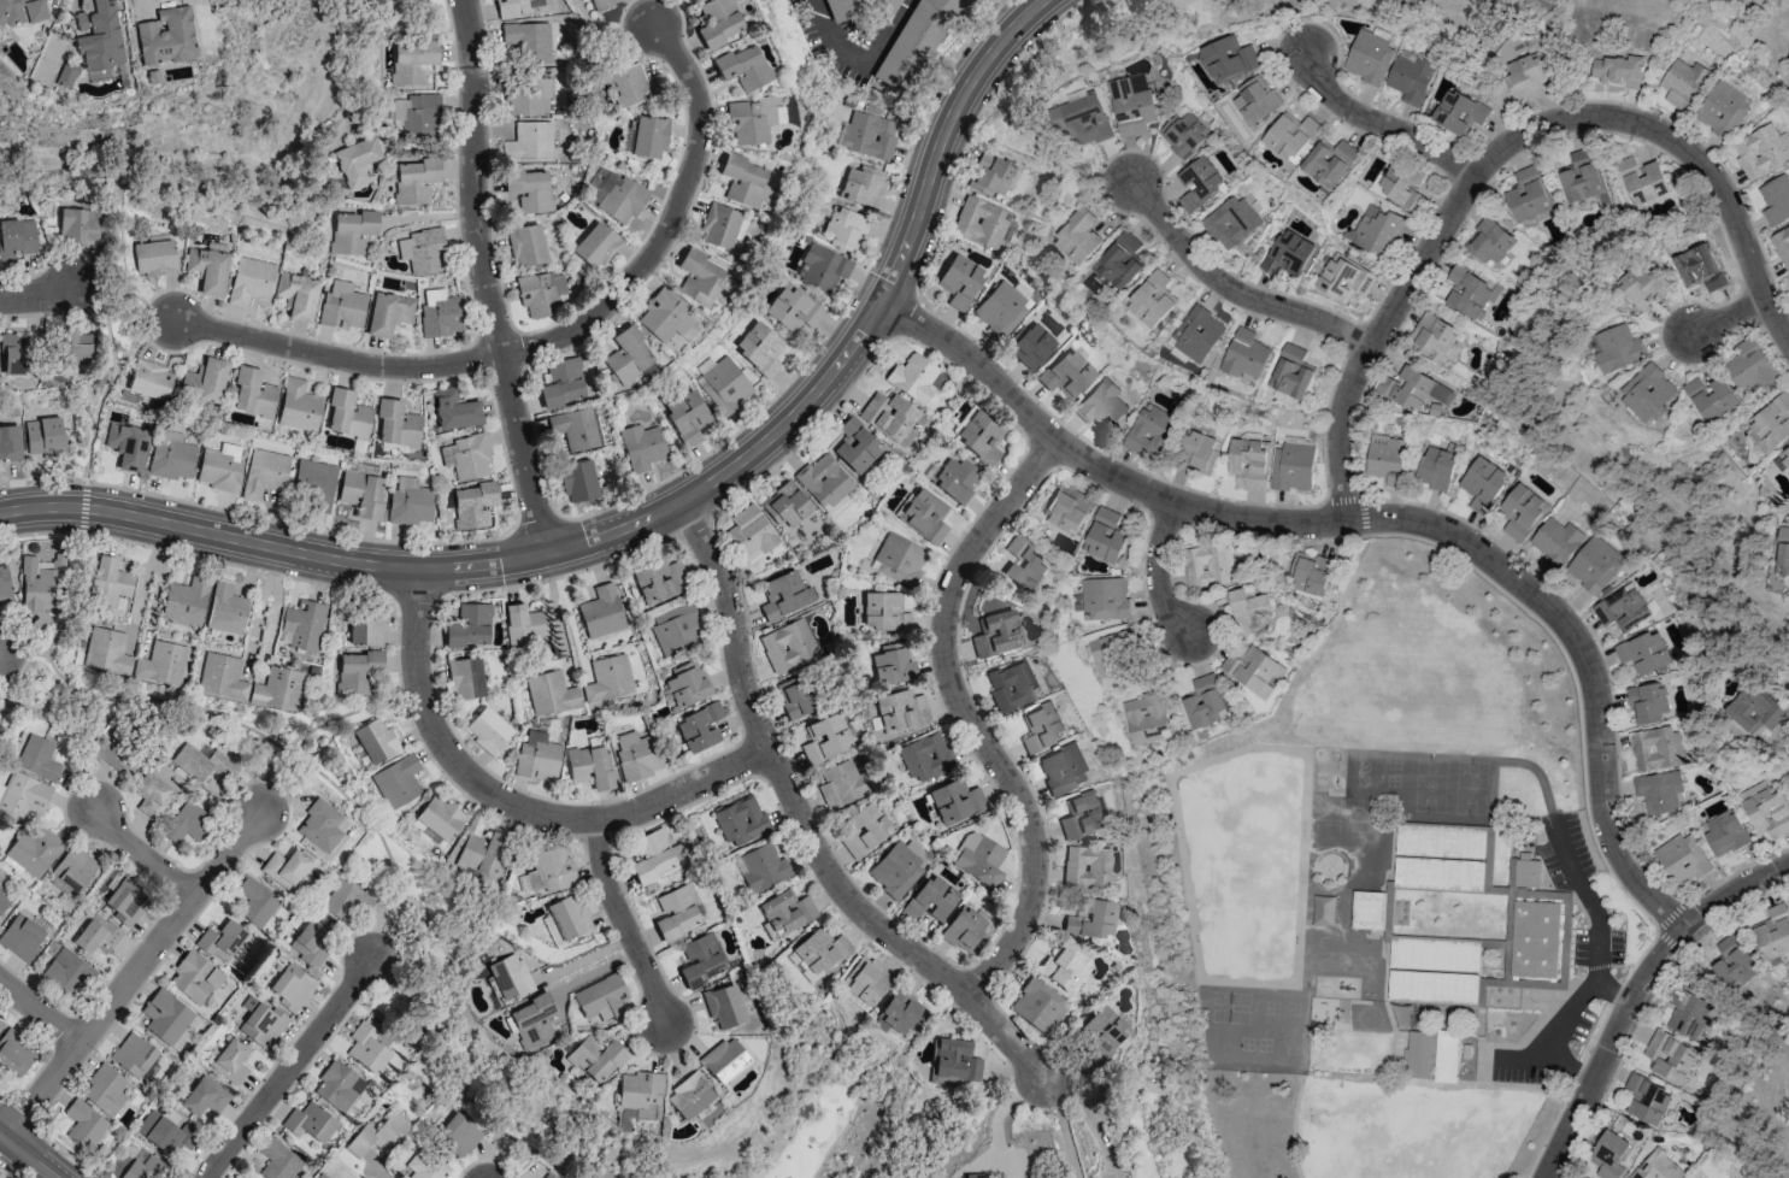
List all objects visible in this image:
building: (600, 4)
building: (518, 7)
building: (858, 8)
building: (22, 11)
building: (81, 20)
building: (719, 22)
road: (887, 30)
building: (166, 36)
building: (917, 37)
building: (102, 39)
road: (830, 39)
building: (529, 41)
road: (1017, 58)
building: (1369, 58)
building: (1229, 59)
building: (413, 60)
building: (743, 66)
building: (1619, 71)
building: (66, 75)
building: (1410, 77)
building: (1526, 77)
building: (1683, 84)
building: (630, 86)
building: (526, 95)
building: (1257, 100)
building: (1131, 105)
building: (1722, 110)
building: (1458, 112)
building: (417, 113)
building: (751, 119)
building: (1082, 120)
road: (1384, 124)
building: (1183, 132)
building: (870, 135)
building: (647, 136)
building: (1290, 136)
building: (529, 141)
road: (1502, 149)
building: (1759, 152)
building: (357, 161)
building: (1329, 163)
building: (989, 175)
building: (1581, 177)
building: (1643, 179)
building: (414, 181)
building: (747, 182)
building: (1200, 182)
building: (863, 185)
building: (1400, 185)
building: (534, 192)
building: (1526, 196)
building: (619, 198)
building: (1776, 200)
building: (979, 222)
building: (1230, 222)
building: (78, 225)
building: (722, 226)
building: (845, 228)
building: (352, 230)
building: (1378, 232)
building: (1081, 237)
building: (18, 238)
building: (1488, 241)
building: (526, 246)
building: (596, 246)
building: (1781, 246)
building: (423, 251)
building: (1287, 254)
building: (155, 257)
building: (1120, 260)
building: (823, 267)
building: (208, 270)
building: (700, 276)
road: (487, 277)
building: (1343, 278)
building: (252, 281)
building: (959, 281)
road: (1234, 287)
building: (1788, 287)
building: (1644, 288)
building: (1469, 291)
road: (34, 293)
building: (541, 293)
building: (299, 295)
building: (1153, 300)
building: (342, 305)
building: (1002, 307)
building: (793, 308)
building: (389, 312)
building: (442, 312)
building: (666, 317)
road: (1732, 317)
road: (104, 319)
building: (1197, 334)
building: (1431, 337)
road: (554, 342)
building: (1029, 346)
building: (759, 348)
building: (1620, 348)
building: (71, 349)
building: (1244, 354)
building: (14, 355)
building: (629, 355)
building: (1749, 365)
building: (1291, 372)
building: (1066, 373)
building: (914, 378)
building: (205, 379)
building: (151, 381)
building: (564, 382)
building: (723, 385)
building: (1412, 389)
building: (253, 393)
building: (1648, 393)
building: (1712, 397)
building: (1101, 405)
building: (299, 406)
building: (455, 410)
building: (346, 414)
building: (888, 414)
building: (687, 417)
building: (1772, 423)
building: (396, 424)
building: (578, 429)
building: (1151, 432)
building: (45, 436)
building: (979, 437)
building: (10, 442)
building: (128, 446)
building: (854, 446)
building: (642, 447)
building: (1199, 453)
building: (1784, 455)
building: (172, 457)
building: (466, 457)
building: (1387, 459)
building: (1248, 464)
building: (220, 467)
building: (1291, 467)
building: (1434, 469)
building: (266, 472)
building: (954, 479)
building: (316, 482)
building: (578, 482)
building: (824, 483)
building: (1482, 483)
building: (363, 493)
road: (1199, 494)
building: (410, 501)
building: (473, 505)
building: (785, 505)
building: (1067, 508)
building: (1520, 512)
road: (651, 516)
building: (923, 516)
road: (1373, 522)
building: (751, 531)
building: (1104, 536)
building: (1555, 542)
building: (1783, 552)
building: (898, 559)
building: (1024, 565)
building: (1208, 565)
building: (1593, 565)
building: (1310, 573)
road: (1163, 576)
road: (143, 578)
building: (659, 581)
building: (42, 583)
building: (110, 583)
building: (4, 584)
building: (784, 595)
building: (1104, 597)
building: (187, 601)
road: (552, 607)
building: (225, 608)
building: (1248, 608)
building: (1622, 608)
road: (259, 609)
building: (601, 611)
building: (883, 612)
building: (523, 624)
building: (302, 625)
road: (270, 626)
building: (470, 626)
building: (676, 628)
building: (365, 629)
building: (995, 634)
building: (787, 644)
road: (23, 650)
building: (106, 650)
building: (1114, 653)
building: (1643, 653)
building: (161, 664)
building: (891, 664)
building: (1254, 670)
building: (355, 671)
building: (465, 678)
building: (608, 678)
building: (248, 683)
building: (1012, 684)
building: (685, 685)
building: (551, 693)
building: (795, 696)
building: (1206, 701)
building: (1647, 703)
building: (1753, 709)
building: (900, 711)
road: (967, 715)
building: (1144, 718)
road: (317, 726)
building: (699, 726)
building: (1042, 726)
road: (245, 728)
building: (489, 731)
building: (824, 738)
building: (376, 741)
road: (1785, 746)
building: (1655, 748)
road: (77, 755)
building: (636, 755)
building: (119, 756)
building: (536, 756)
building: (924, 756)
building: (37, 758)
building: (200, 761)
building: (592, 766)
building: (1065, 767)
building: (396, 781)
building: (842, 784)
building: (1, 789)
building: (1660, 793)
building: (24, 796)
building: (153, 796)
building: (954, 801)
road: (511, 803)
building: (1765, 809)
building: (1082, 814)
road: (1590, 819)
building: (437, 820)
building: (738, 821)
building: (187, 823)
building: (320, 824)
building: (864, 829)
road: (807, 831)
building: (1724, 834)
building: (1441, 838)
building: (34, 849)
building: (481, 854)
road: (141, 855)
building: (654, 855)
building: (978, 859)
building: (1682, 859)
building: (763, 867)
building: (1085, 867)
building: (73, 868)
building: (284, 868)
building: (895, 868)
building: (1526, 871)
building: (1437, 874)
building: (540, 890)
building: (929, 897)
building: (347, 900)
building: (4, 901)
building: (126, 901)
building: (257, 905)
building: (676, 912)
building: (785, 912)
building: (1089, 919)
road: (622, 921)
building: (965, 929)
road: (389, 930)
building: (1773, 932)
building: (96, 933)
building: (22, 937)
building: (1534, 938)
building: (222, 942)
building: (308, 943)
parking lot: (1597, 948)
building: (818, 952)
building: (700, 959)
building: (1732, 964)
building: (1061, 966)
building: (1431, 971)
building: (65, 973)
road: (129, 974)
building: (508, 976)
building: (195, 978)
building: (865, 979)
building: (292, 986)
road: (1635, 993)
building: (601, 1000)
building: (1037, 1005)
building: (723, 1006)
road: (39, 1012)
building: (899, 1012)
building: (1689, 1014)
building: (166, 1019)
building: (531, 1021)
building: (260, 1023)
building: (0, 1024)
building: (1099, 1033)
building: (366, 1048)
building: (14, 1052)
building: (1420, 1053)
building: (133, 1055)
building: (1446, 1056)
building: (595, 1058)
building: (1669, 1058)
building: (230, 1060)
building: (724, 1060)
building: (953, 1061)
road: (288, 1068)
building: (339, 1085)
building: (105, 1090)
building: (640, 1094)
building: (688, 1095)
building: (205, 1096)
building: (1647, 1100)
building: (622, 1119)
building: (310, 1123)
building: (84, 1124)
road: (1293, 1126)
park: (1367, 1126)
road: (1066, 1130)
building: (165, 1132)
building: (459, 1132)
building: (377, 1135)
road: (837, 1139)
road: (25, 1156)
building: (1607, 1156)
building: (277, 1160)
road: (518, 1165)
building: (425, 1166)
building: (1656, 1166)
road: (14, 1167)
building: (143, 1167)
building: (320, 1176)
building: (548, 1176)
building: (972, 1176)

